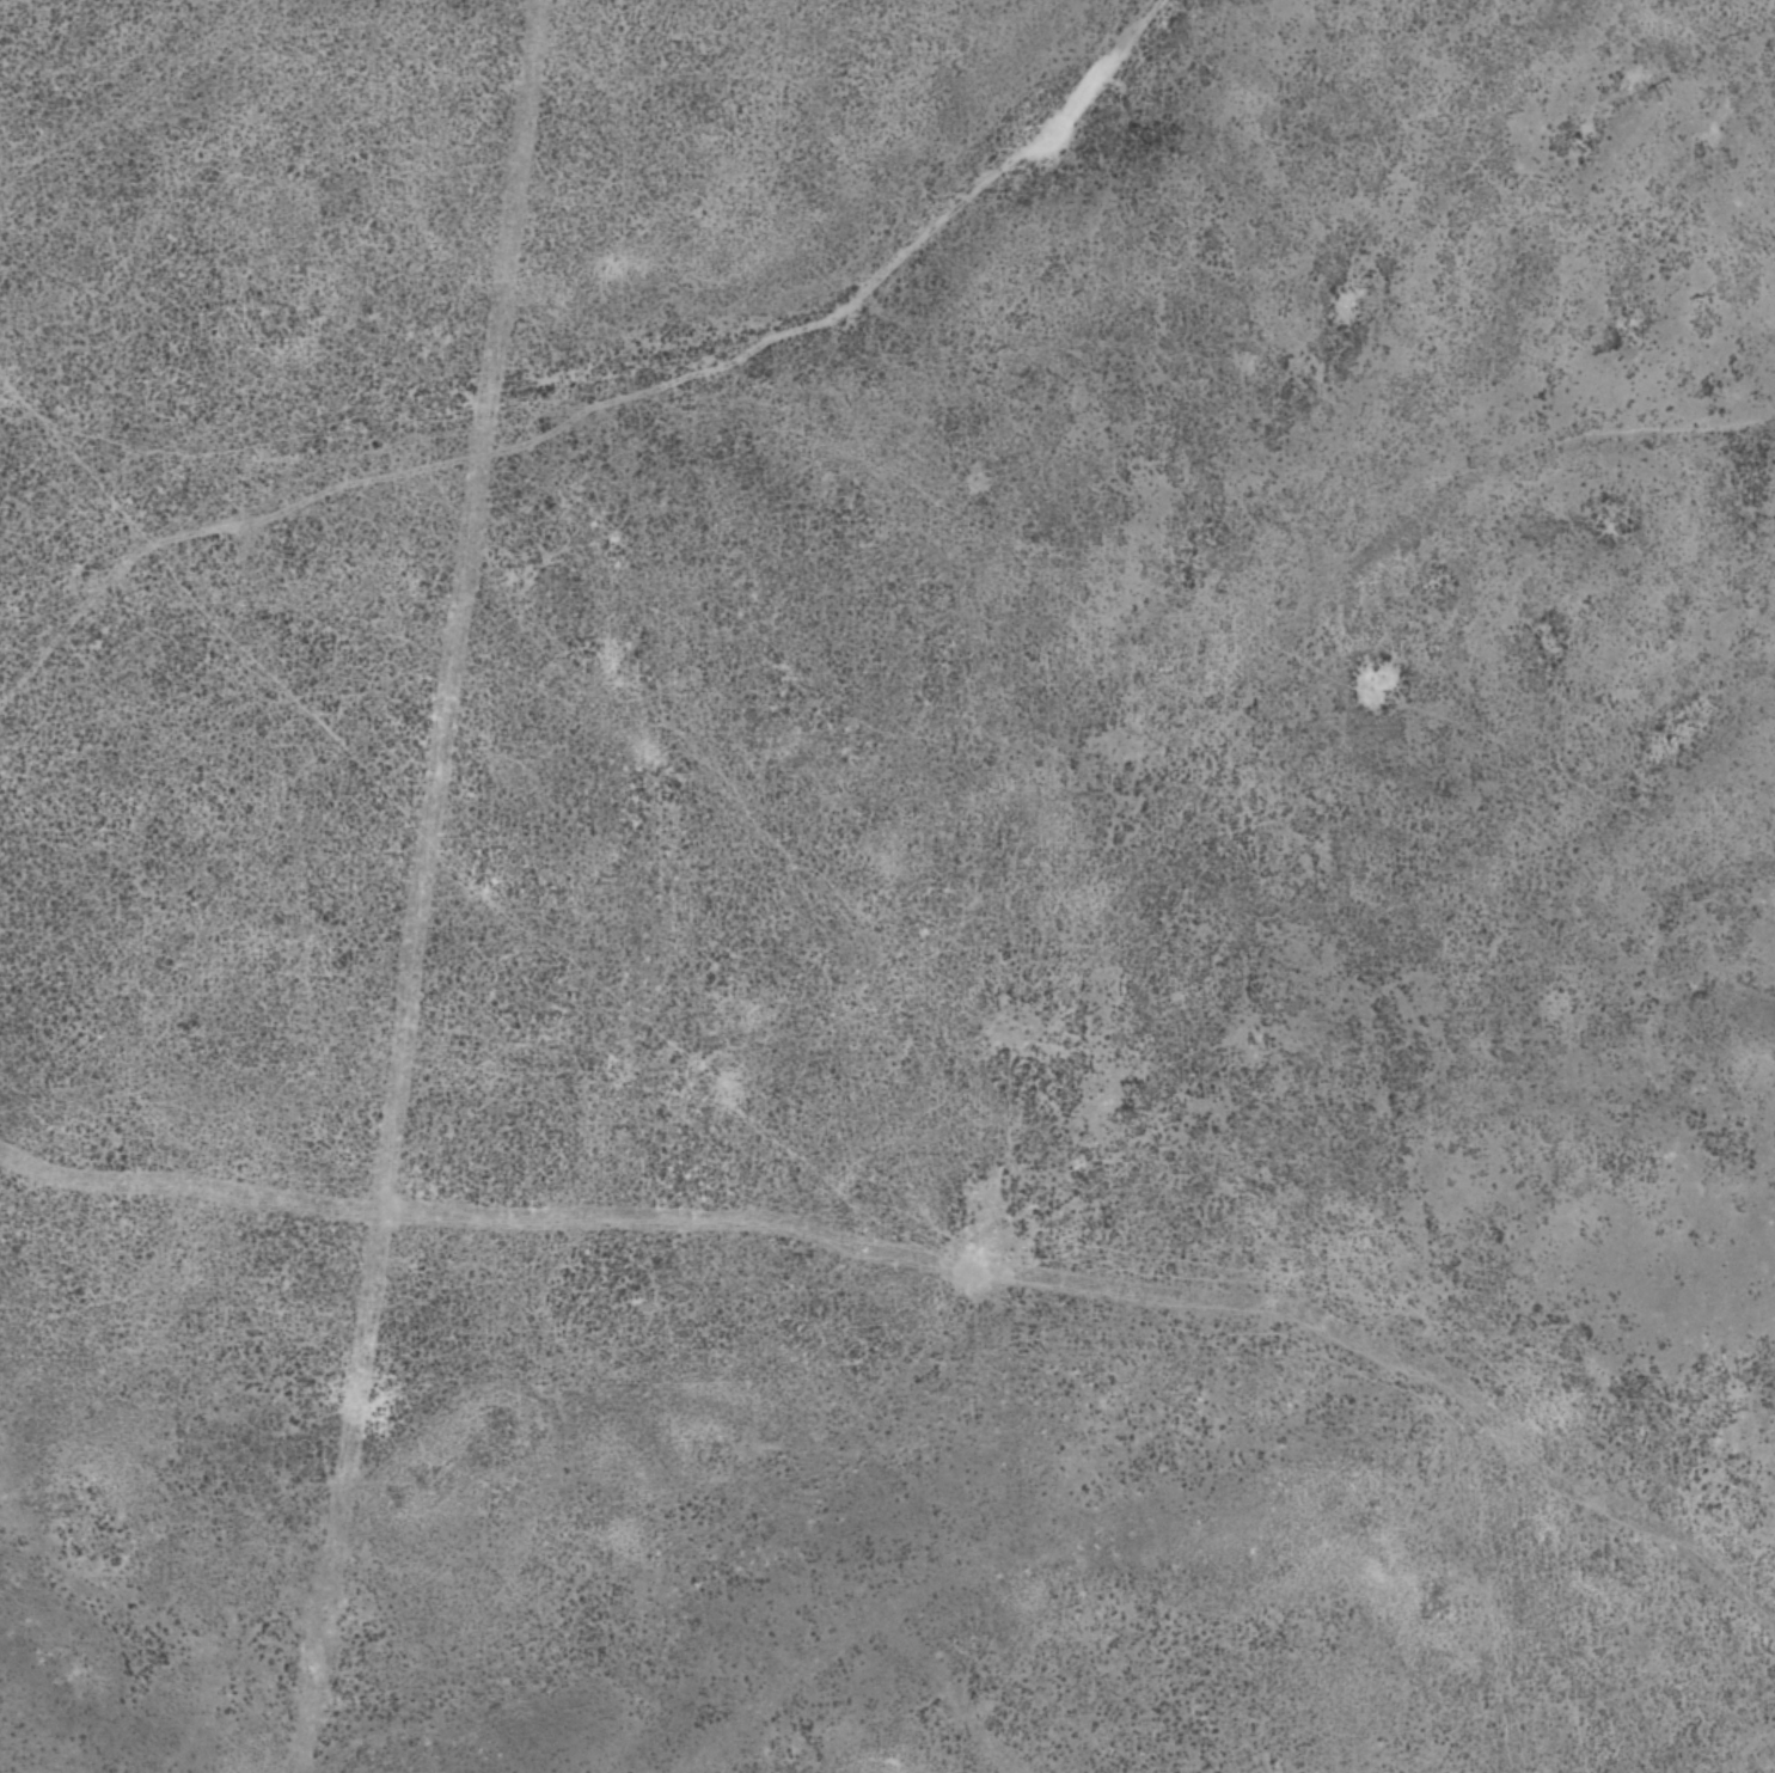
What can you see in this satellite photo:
power tower: (1654, 102)

